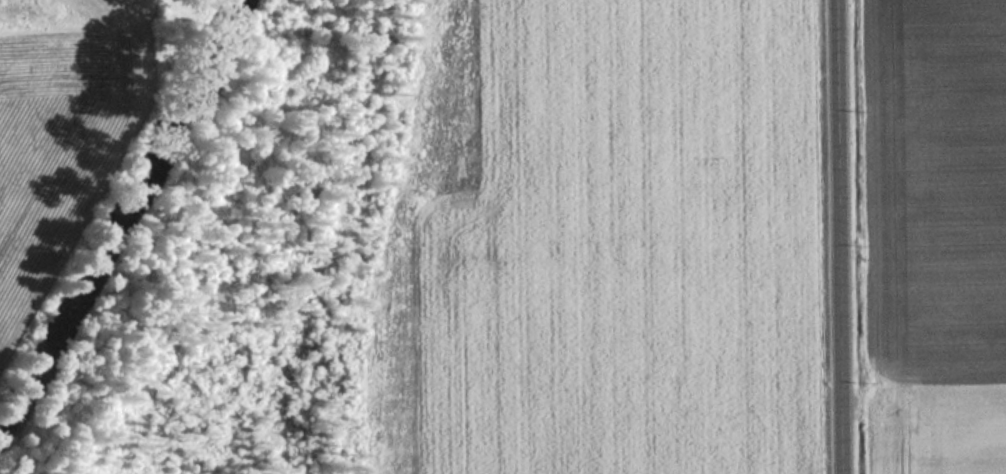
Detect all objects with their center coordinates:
river: (116, 227)
road: (841, 237)

